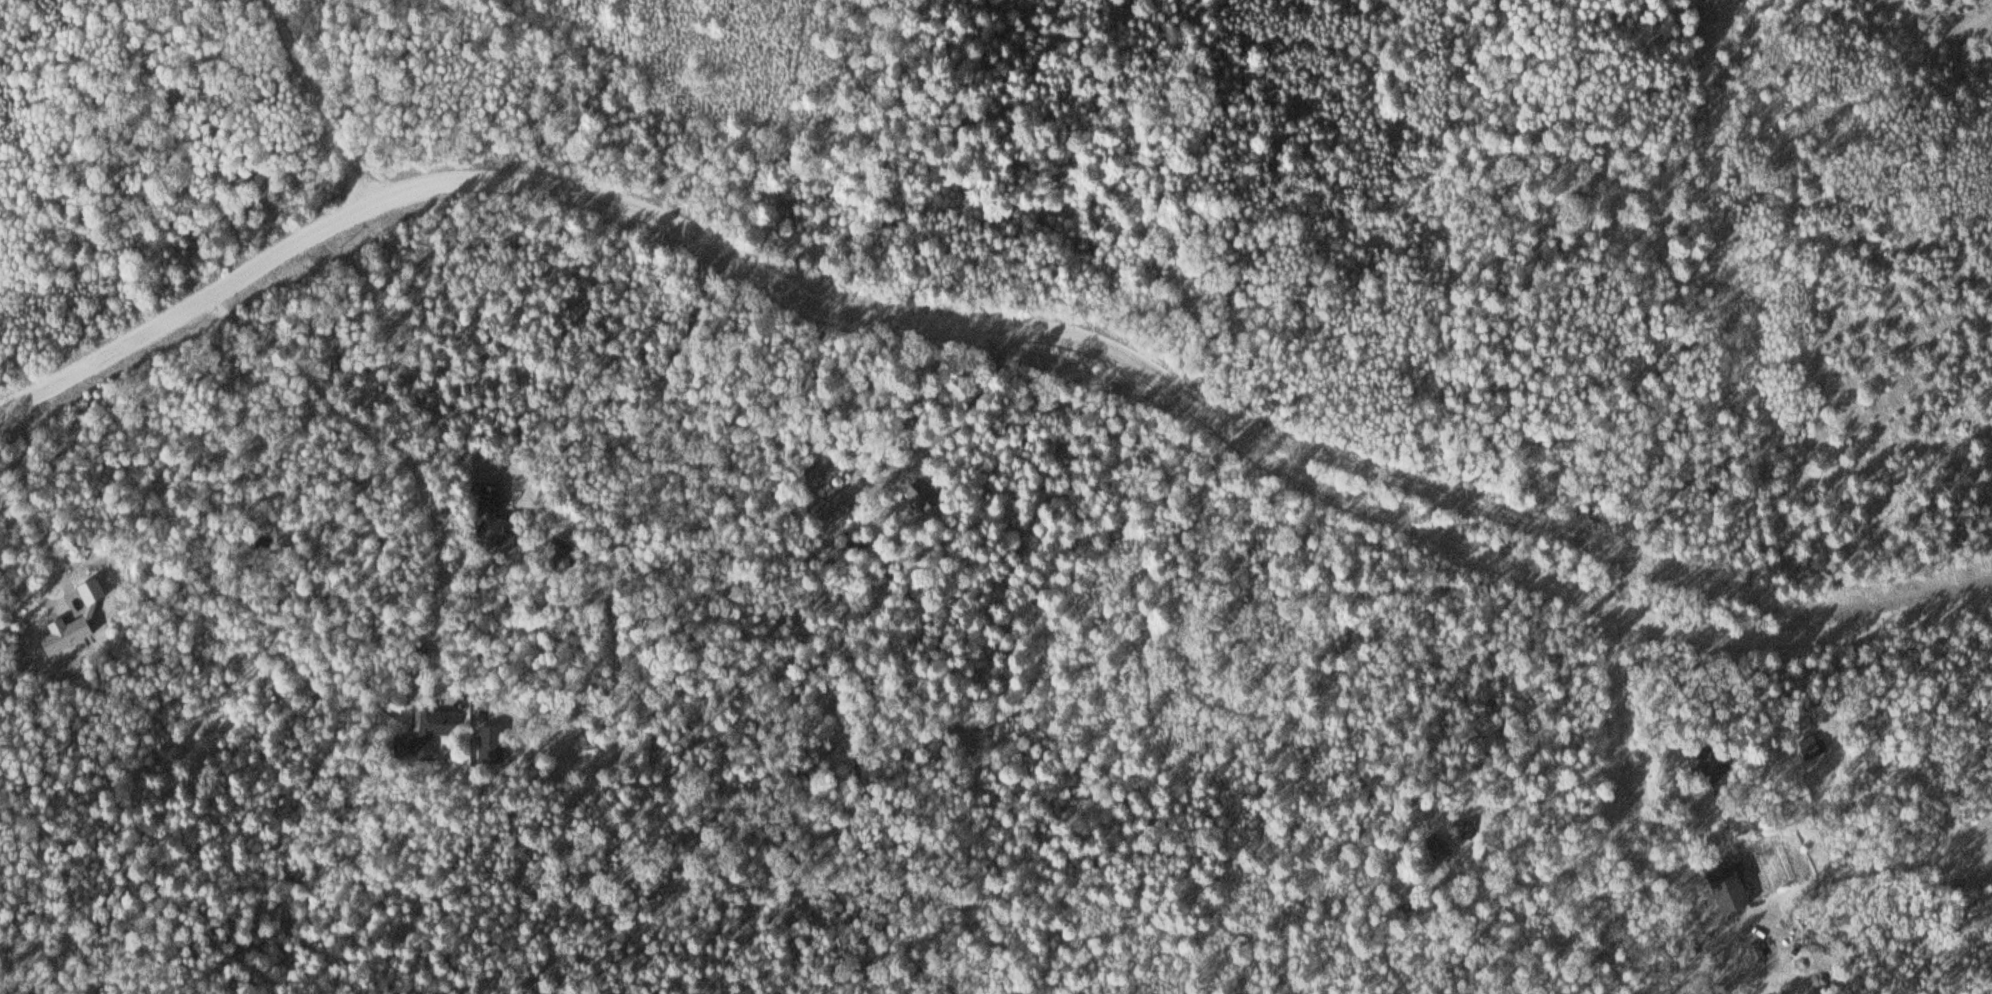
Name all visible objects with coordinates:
road: (325, 103)
road: (991, 323)
building: (911, 493)
building: (822, 508)
building: (488, 518)
building: (554, 557)
building: (79, 620)
building: (418, 734)
building: (484, 744)
building: (1806, 747)
building: (1708, 761)
building: (1432, 848)
building: (1723, 885)

